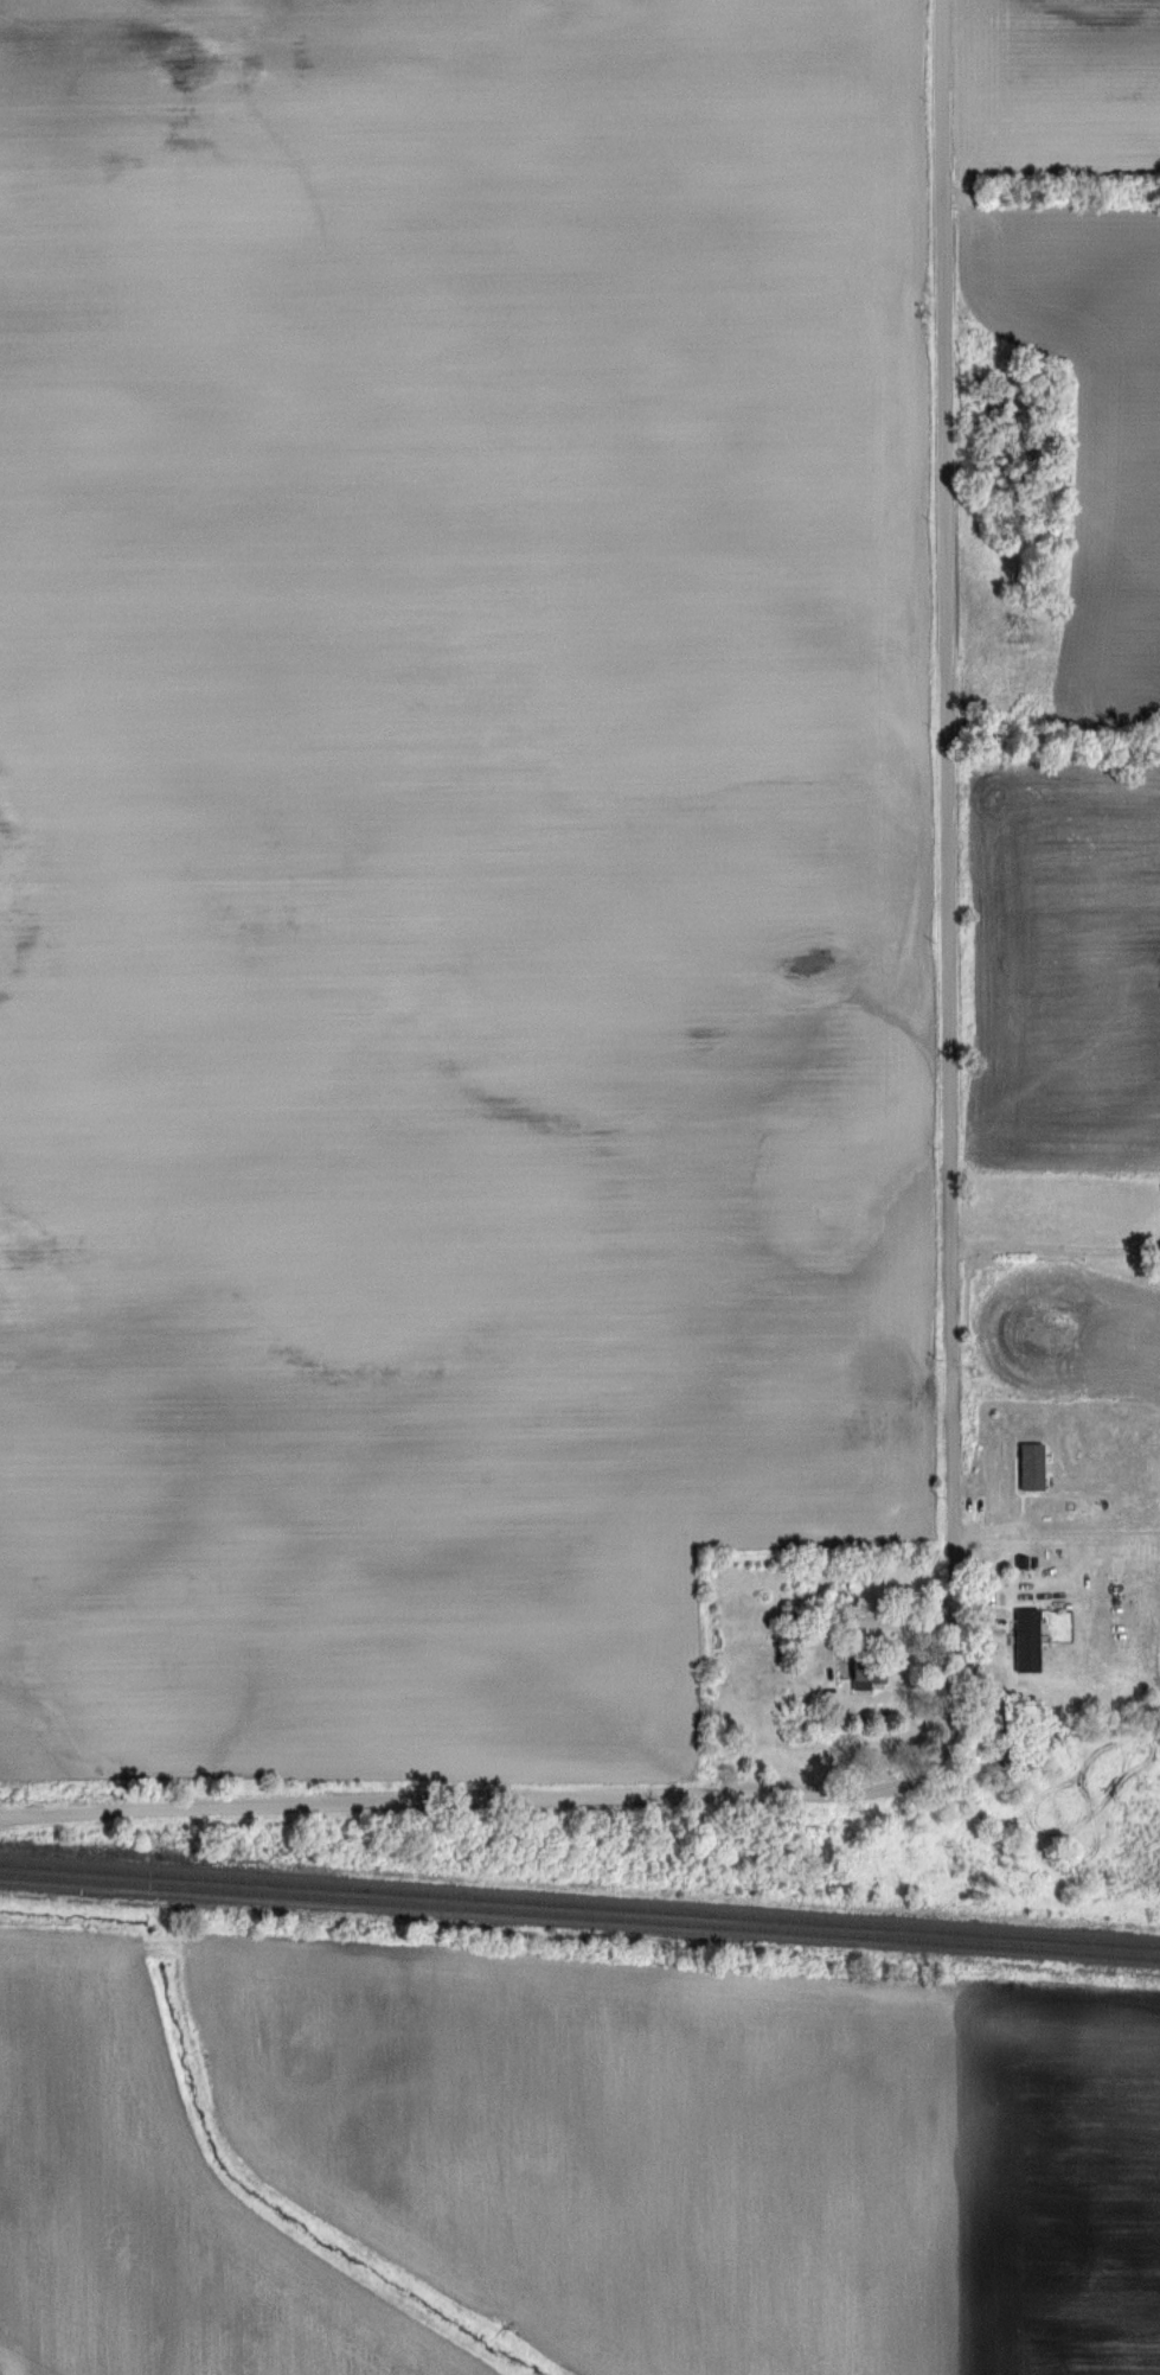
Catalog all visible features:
road: (1057, 1253)
road: (953, 1355)
building: (1032, 1470)
building: (1026, 1640)
building: (867, 1677)
railway: (579, 1905)
railway: (579, 1915)

